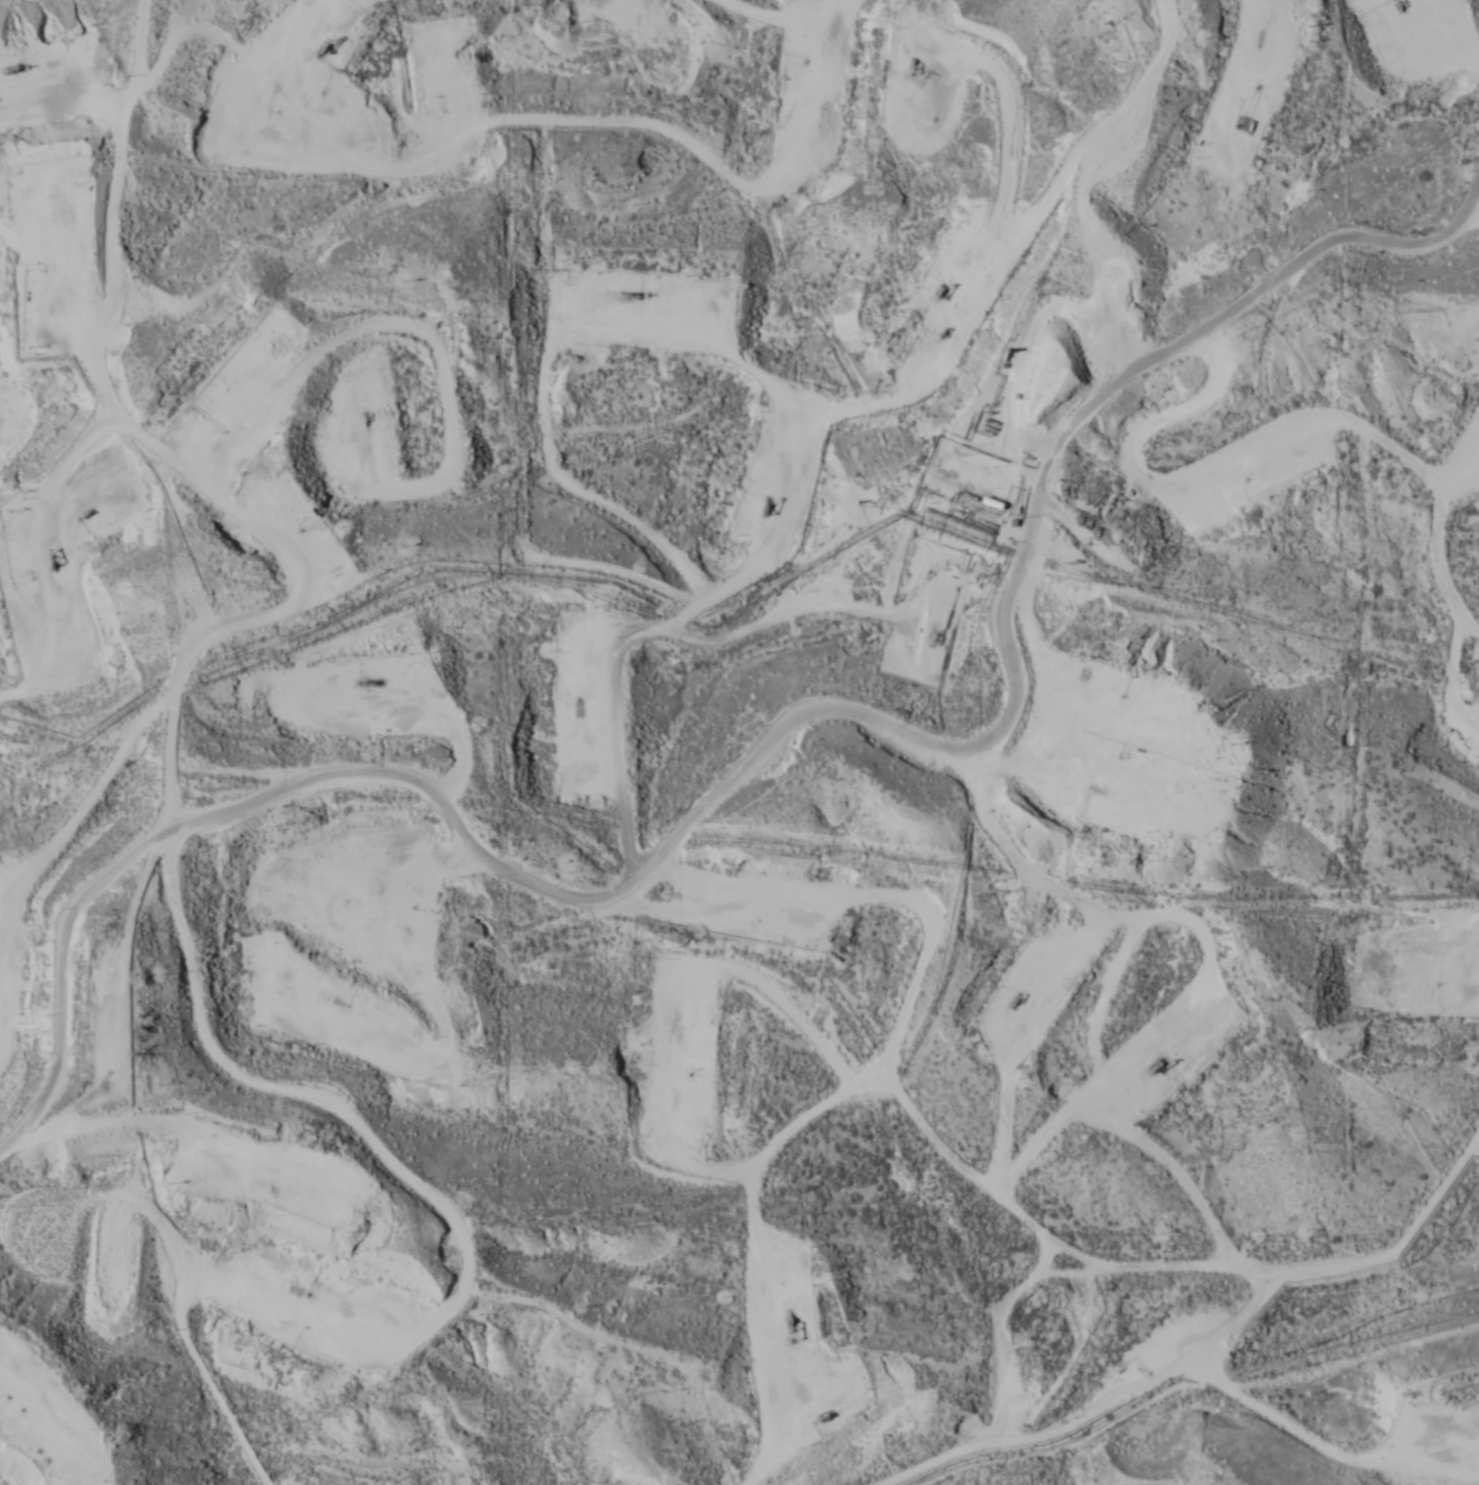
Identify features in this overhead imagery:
road: (1455, 55)
road: (748, 76)
road: (1119, 187)
road: (664, 396)
building: (1001, 489)
road: (1064, 567)
road: (406, 767)
road: (171, 824)
road: (62, 1027)
road: (746, 1243)
road: (1203, 1273)
road: (512, 1294)
road: (1294, 1437)

